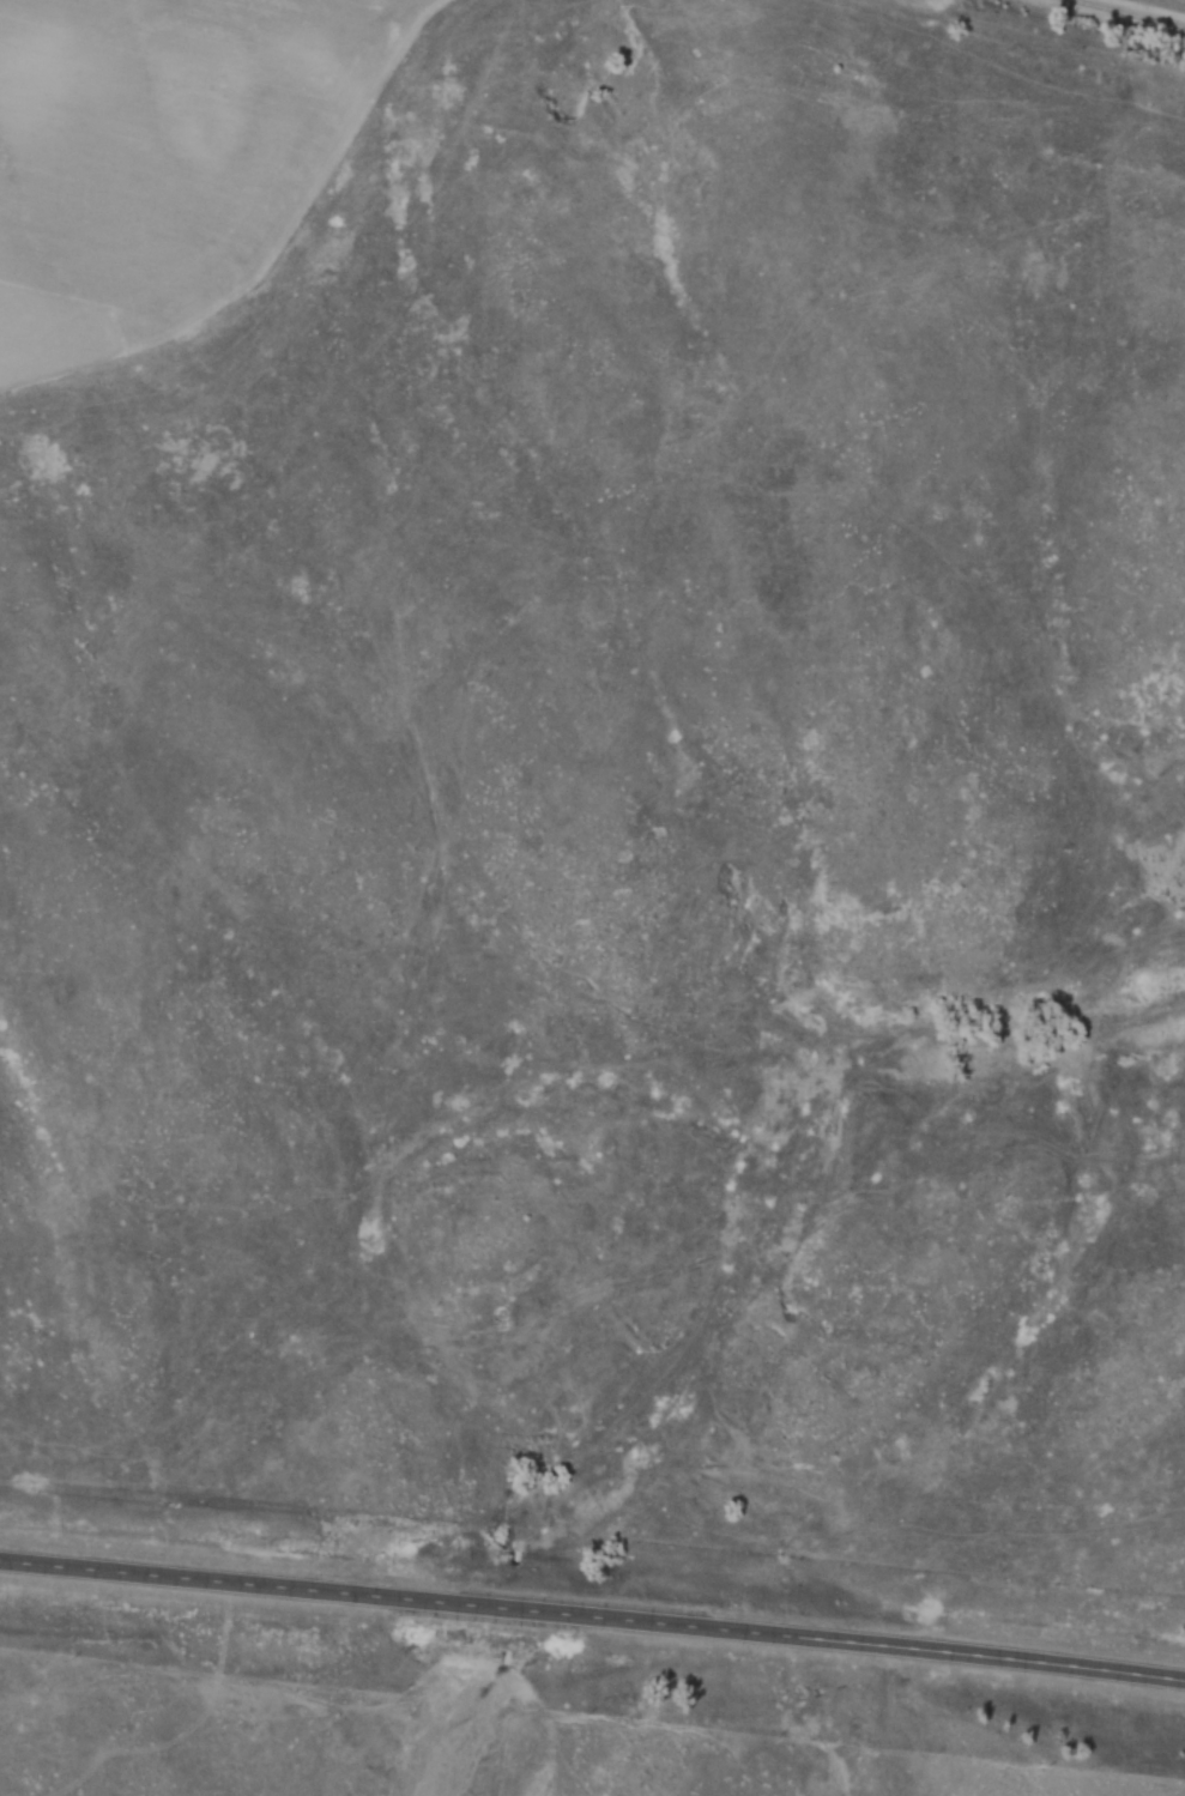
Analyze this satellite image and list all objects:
railway: (1127, 13)
crop: (167, 162)
road: (592, 1623)

